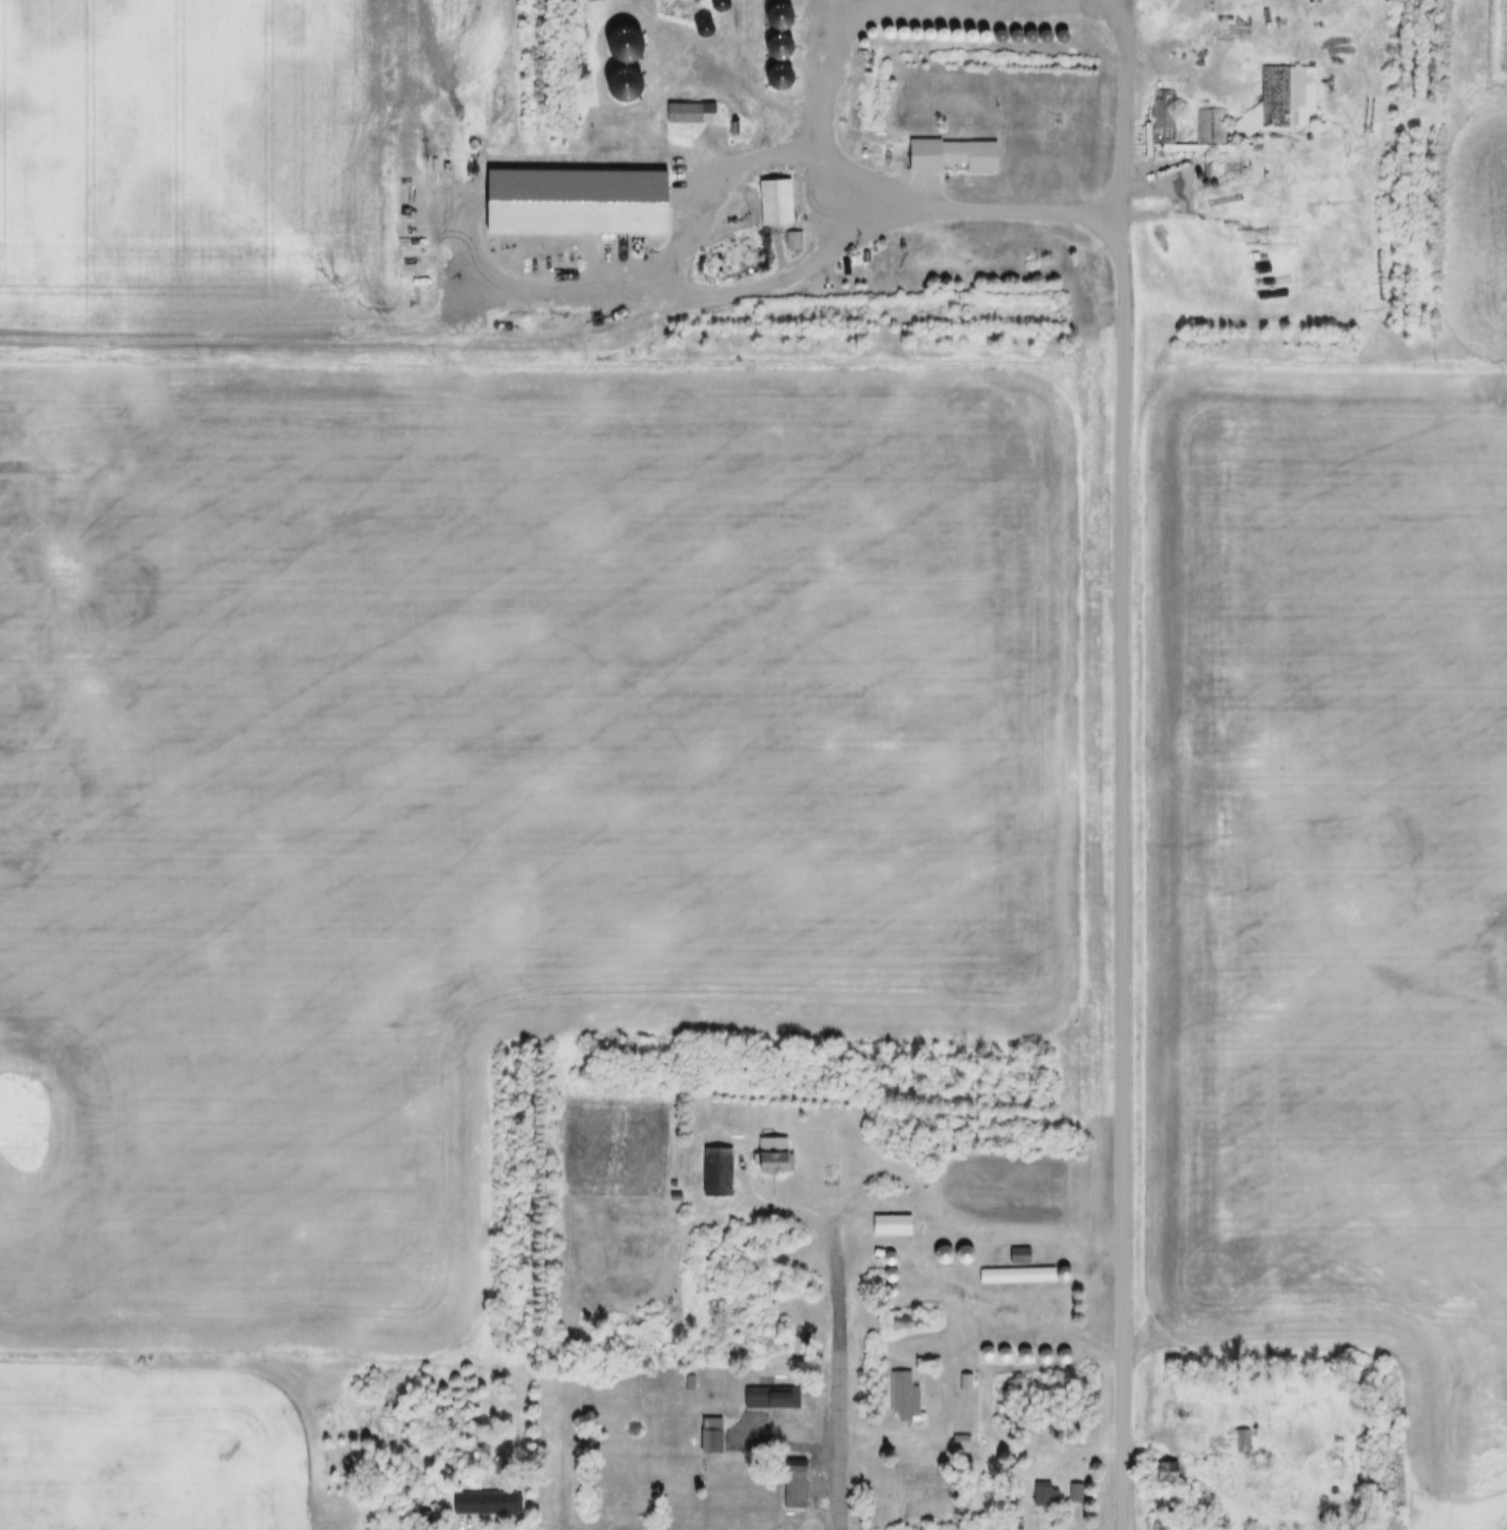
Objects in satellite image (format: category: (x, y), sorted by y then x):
building: (783, 10)
silo: (783, 10)
road: (883, 19)
road: (1130, 19)
building: (876, 25)
silo: (876, 25)
building: (890, 26)
silo: (890, 26)
building: (904, 26)
silo: (904, 26)
building: (918, 26)
silo: (918, 26)
building: (931, 27)
silo: (931, 27)
building: (943, 28)
silo: (943, 28)
building: (956, 29)
silo: (956, 29)
building: (970, 29)
silo: (970, 29)
building: (861, 30)
silo: (861, 30)
building: (984, 30)
silo: (984, 30)
building: (1001, 30)
silo: (1001, 30)
building: (1016, 30)
silo: (1016, 30)
building: (1032, 30)
silo: (1032, 30)
building: (1047, 31)
silo: (1047, 31)
building: (631, 34)
silo: (631, 34)
building: (852, 39)
silo: (852, 39)
building: (783, 40)
silo: (783, 40)
building: (783, 70)
silo: (783, 70)
building: (631, 76)
silo: (631, 76)
building: (1289, 92)
building: (693, 105)
building: (1166, 110)
building: (693, 116)
building: (1245, 119)
building: (1214, 120)
building: (738, 122)
road: (1128, 125)
building: (1214, 141)
building: (950, 149)
building: (1199, 168)
silo: (1199, 168)
road: (1343, 173)
building: (1214, 175)
silo: (1214, 175)
building: (1205, 176)
silo: (1205, 176)
road: (1183, 188)
building: (776, 195)
building: (581, 196)
road: (893, 225)
building: (795, 234)
road: (338, 337)
road: (1124, 870)
building: (773, 1148)
building: (716, 1165)
building: (891, 1218)
road: (824, 1226)
building: (945, 1247)
silo: (945, 1247)
building: (967, 1247)
silo: (967, 1247)
building: (1021, 1248)
building: (893, 1250)
silo: (893, 1250)
building: (960, 1257)
building: (1065, 1265)
silo: (1065, 1265)
building: (893, 1267)
silo: (893, 1267)
building: (1018, 1268)
building: (1021, 1276)
building: (894, 1282)
silo: (894, 1282)
road: (984, 1302)
building: (989, 1345)
silo: (989, 1345)
building: (1006, 1347)
silo: (1006, 1347)
building: (1027, 1348)
silo: (1027, 1348)
building: (1066, 1348)
silo: (1066, 1348)
building: (1047, 1349)
silo: (1047, 1349)
building: (692, 1375)
building: (966, 1375)
building: (772, 1390)
building: (903, 1390)
building: (711, 1429)
building: (1244, 1432)
building: (962, 1433)
road: (898, 1434)
road: (842, 1435)
building: (1165, 1464)
building: (1171, 1474)
building: (795, 1477)
building: (1046, 1487)
building: (1078, 1487)
building: (484, 1496)
building: (617, 1496)
building: (620, 1508)

